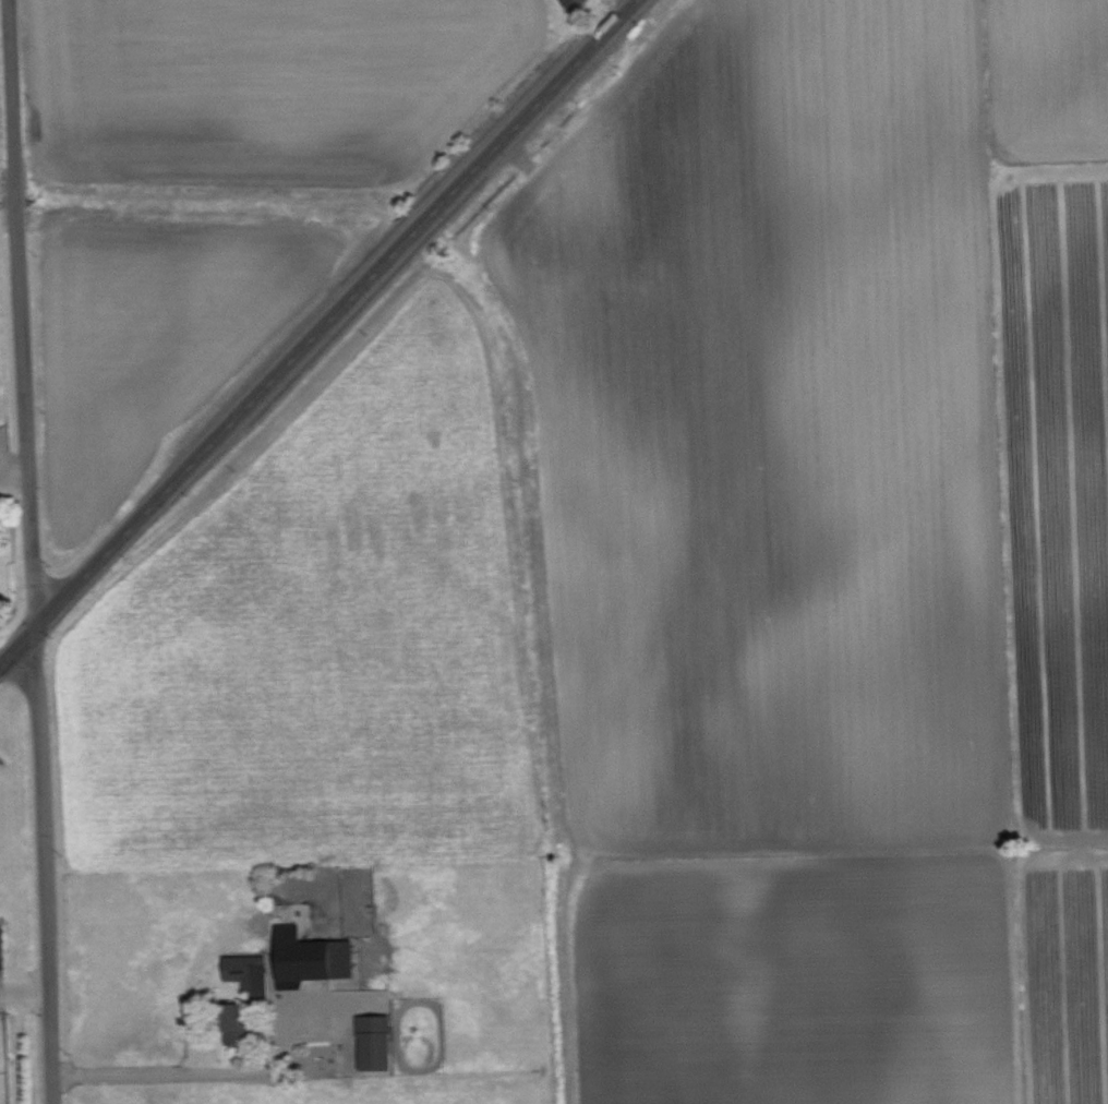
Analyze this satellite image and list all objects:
building: (577, 3)
road: (321, 334)
road: (35, 551)
building: (311, 957)
building: (250, 975)
road: (25, 988)
building: (237, 1024)
building: (376, 1042)
road: (221, 1069)

